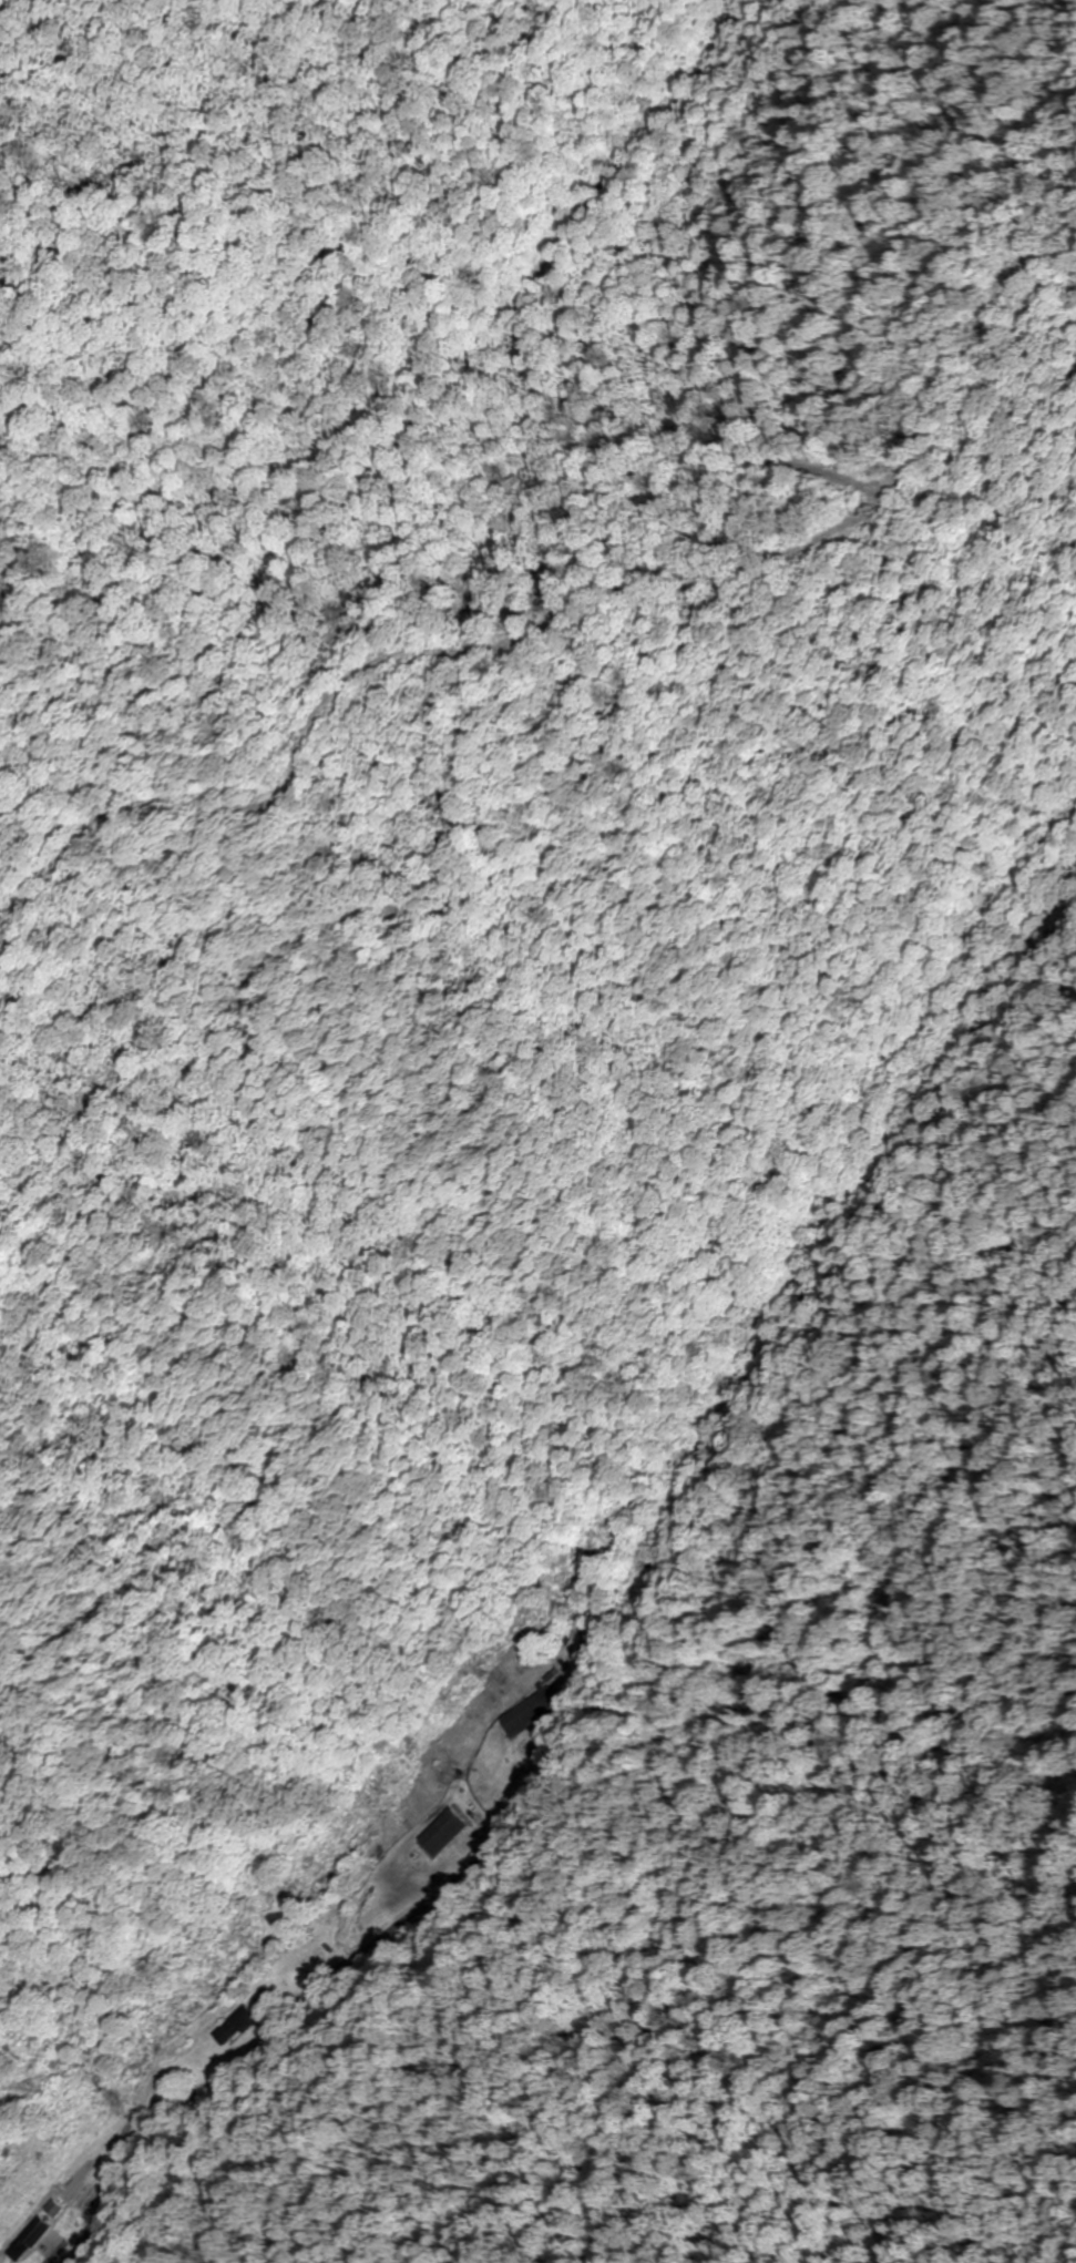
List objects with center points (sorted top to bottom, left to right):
building: (524, 1712)
building: (445, 1829)
building: (232, 2026)
building: (23, 2237)
road: (44, 2251)

